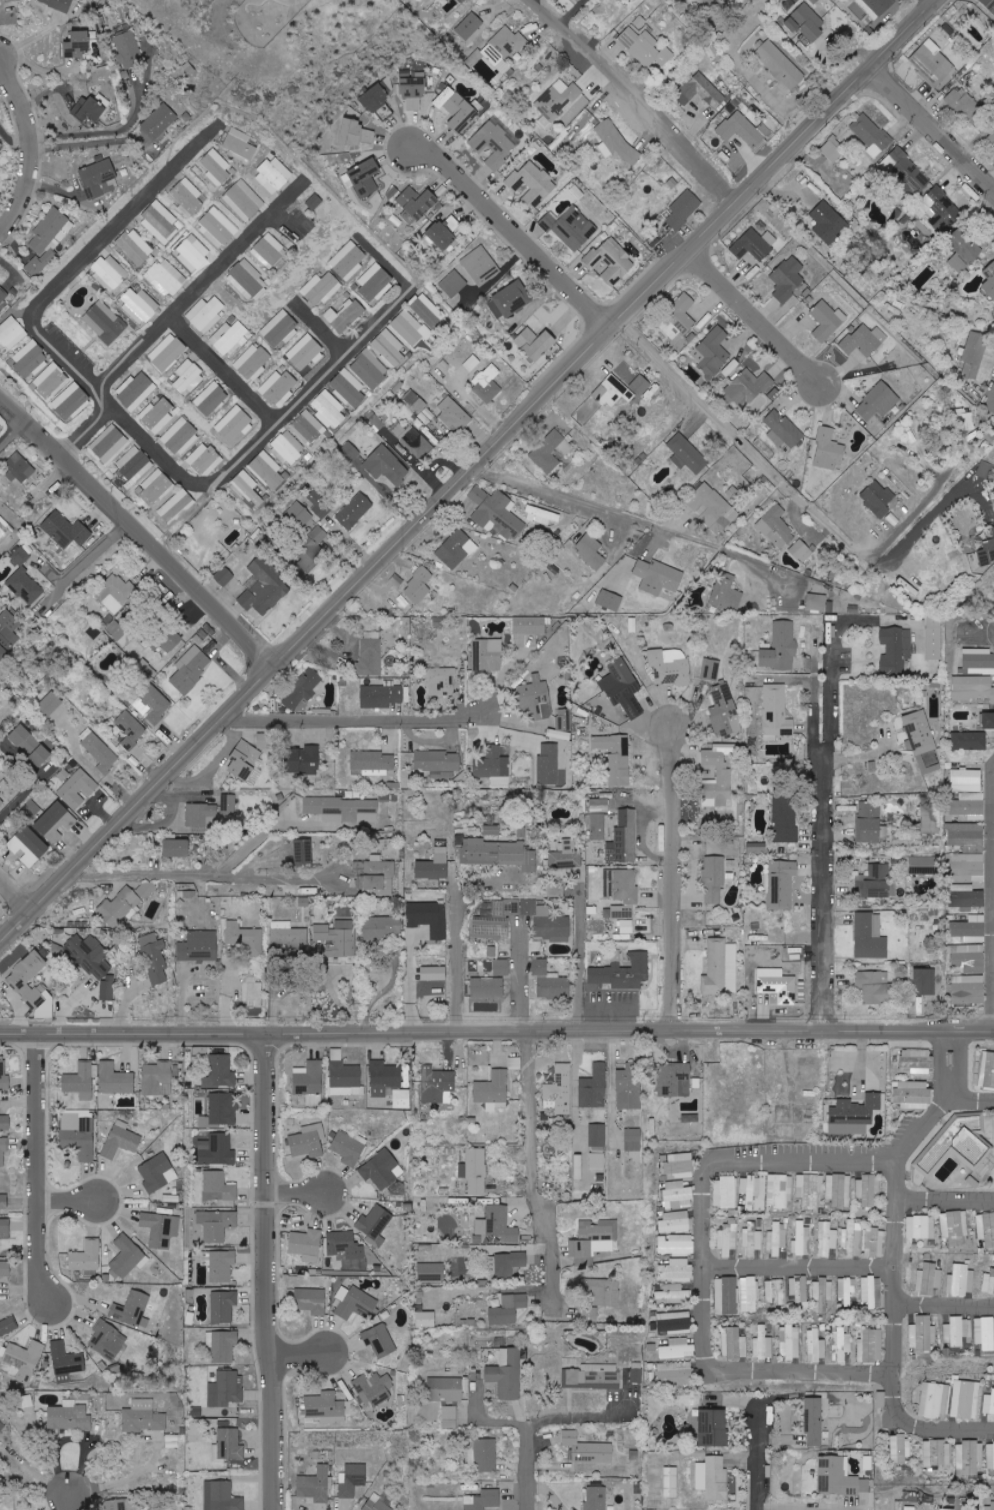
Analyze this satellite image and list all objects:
building: (462, 0)
building: (577, 0)
building: (709, 2)
building: (59, 4)
building: (989, 4)
building: (875, 7)
building: (807, 21)
building: (469, 25)
building: (530, 30)
building: (644, 43)
building: (78, 44)
building: (505, 45)
building: (128, 48)
building: (778, 62)
building: (932, 63)
building: (189, 68)
building: (703, 91)
building: (414, 92)
building: (375, 97)
building: (557, 100)
road: (632, 100)
building: (963, 103)
building: (89, 108)
building: (462, 111)
building: (160, 121)
road: (931, 127)
building: (738, 128)
building: (357, 132)
building: (872, 135)
road: (100, 136)
building: (615, 140)
building: (991, 140)
building: (495, 142)
building: (240, 144)
building: (833, 149)
road: (31, 152)
building: (215, 167)
building: (909, 171)
building: (273, 175)
building: (366, 178)
building: (100, 179)
building: (533, 184)
building: (187, 197)
building: (243, 200)
building: (315, 201)
building: (417, 204)
building: (684, 209)
building: (939, 210)
building: (160, 222)
building: (828, 223)
building: (217, 227)
building: (571, 227)
building: (444, 232)
road: (513, 233)
building: (48, 239)
building: (755, 245)
building: (135, 247)
building: (268, 250)
building: (193, 253)
building: (965, 253)
building: (348, 260)
building: (612, 261)
building: (481, 265)
building: (110, 272)
building: (165, 277)
building: (788, 279)
building: (248, 280)
building: (990, 280)
building: (375, 282)
building: (453, 283)
building: (766, 284)
road: (204, 287)
building: (320, 289)
building: (3, 295)
building: (511, 300)
building: (138, 304)
building: (427, 310)
building: (0, 314)
building: (205, 314)
building: (345, 315)
road: (753, 317)
building: (679, 320)
building: (828, 320)
building: (105, 322)
building: (280, 328)
building: (408, 329)
building: (12, 332)
road: (323, 332)
building: (230, 338)
building: (864, 340)
building: (535, 343)
building: (388, 348)
building: (168, 352)
building: (305, 352)
building: (713, 352)
building: (975, 353)
building: (31, 359)
building: (252, 362)
building: (471, 363)
building: (369, 369)
road: (223, 375)
building: (187, 377)
building: (52, 381)
building: (488, 384)
building: (641, 385)
building: (278, 388)
building: (348, 388)
building: (748, 388)
building: (135, 390)
building: (613, 391)
building: (211, 398)
building: (415, 401)
building: (72, 402)
building: (878, 402)
building: (328, 409)
road: (126, 414)
building: (157, 415)
building: (454, 415)
building: (234, 424)
building: (969, 424)
building: (307, 427)
building: (783, 430)
road: (84, 435)
road: (6, 436)
building: (180, 436)
building: (416, 442)
building: (110, 443)
building: (287, 448)
building: (829, 449)
building: (551, 452)
building: (687, 455)
building: (204, 459)
building: (134, 464)
building: (387, 465)
building: (19, 469)
building: (985, 469)
building: (267, 470)
road: (468, 475)
building: (154, 487)
building: (247, 488)
road: (783, 490)
building: (877, 499)
building: (319, 504)
building: (175, 506)
building: (714, 508)
building: (354, 511)
building: (497, 513)
building: (299, 515)
road: (632, 519)
building: (777, 527)
building: (4, 528)
building: (67, 530)
road: (133, 548)
building: (311, 550)
building: (457, 550)
building: (591, 551)
building: (802, 551)
building: (987, 552)
building: (21, 557)
road: (67, 570)
building: (224, 576)
building: (659, 577)
building: (419, 584)
building: (26, 586)
building: (264, 587)
building: (117, 593)
building: (727, 594)
building: (610, 600)
building: (817, 602)
building: (530, 625)
building: (628, 626)
building: (7, 632)
building: (116, 634)
building: (933, 638)
building: (168, 643)
building: (781, 647)
building: (896, 650)
building: (488, 656)
building: (371, 657)
building: (978, 661)
building: (670, 666)
building: (191, 668)
building: (712, 669)
building: (618, 681)
building: (442, 682)
building: (973, 688)
building: (304, 691)
building: (381, 696)
building: (536, 698)
building: (51, 704)
building: (158, 706)
building: (777, 712)
building: (725, 713)
building: (989, 721)
road: (355, 722)
building: (562, 726)
building: (129, 730)
building: (265, 740)
building: (922, 741)
building: (970, 741)
building: (31, 745)
building: (100, 752)
building: (616, 757)
building: (307, 760)
building: (246, 763)
building: (372, 763)
building: (438, 763)
building: (494, 766)
building: (63, 774)
building: (718, 777)
building: (966, 780)
building: (77, 788)
building: (2, 802)
building: (228, 804)
building: (600, 805)
building: (343, 809)
building: (202, 815)
building: (786, 818)
road: (826, 819)
building: (930, 819)
building: (55, 822)
building: (869, 822)
building: (597, 826)
building: (494, 830)
road: (261, 835)
building: (967, 837)
building: (624, 838)
building: (28, 847)
building: (176, 847)
building: (303, 852)
building: (499, 854)
building: (567, 857)
building: (923, 865)
building: (437, 866)
building: (969, 867)
road: (194, 873)
building: (377, 875)
road: (675, 878)
building: (713, 880)
building: (874, 882)
building: (781, 884)
building: (621, 885)
building: (146, 890)
building: (556, 891)
road: (990, 891)
building: (971, 898)
road: (15, 902)
building: (304, 902)
building: (120, 907)
building: (623, 911)
building: (430, 918)
building: (550, 923)
building: (627, 926)
building: (383, 928)
building: (492, 928)
building: (971, 929)
building: (244, 937)
road: (457, 937)
building: (870, 937)
building: (291, 938)
building: (338, 938)
building: (199, 947)
building: (794, 953)
road: (577, 957)
building: (970, 957)
building: (154, 958)
building: (93, 962)
building: (719, 966)
building: (501, 967)
building: (624, 973)
road: (516, 977)
road: (409, 981)
building: (550, 981)
building: (923, 982)
building: (778, 984)
building: (21, 986)
building: (487, 986)
building: (876, 988)
building: (968, 989)
building: (252, 992)
road: (496, 1028)
building: (336, 1054)
building: (917, 1060)
building: (986, 1070)
building: (220, 1071)
building: (4, 1076)
building: (157, 1078)
building: (346, 1078)
building: (115, 1079)
building: (310, 1079)
building: (677, 1080)
building: (80, 1081)
building: (393, 1082)
building: (439, 1084)
building: (629, 1086)
building: (594, 1087)
building: (560, 1088)
building: (493, 1090)
building: (913, 1094)
road: (972, 1107)
building: (221, 1110)
building: (854, 1115)
building: (5, 1122)
building: (598, 1135)
building: (77, 1136)
building: (121, 1140)
building: (309, 1141)
building: (633, 1143)
building: (952, 1146)
building: (349, 1147)
building: (3, 1150)
building: (219, 1150)
building: (597, 1160)
building: (679, 1164)
building: (578, 1166)
road: (33, 1168)
building: (383, 1169)
road: (532, 1169)
building: (475, 1170)
building: (157, 1172)
building: (218, 1186)
building: (867, 1189)
building: (749, 1190)
building: (808, 1190)
building: (838, 1190)
building: (778, 1191)
building: (725, 1192)
building: (679, 1194)
road: (299, 1196)
building: (4, 1200)
road: (65, 1202)
road: (946, 1206)
building: (675, 1221)
building: (376, 1223)
building: (217, 1224)
building: (497, 1224)
building: (5, 1226)
building: (920, 1227)
building: (161, 1228)
building: (986, 1228)
building: (727, 1237)
building: (751, 1238)
building: (777, 1238)
building: (802, 1239)
building: (825, 1239)
building: (851, 1239)
building: (593, 1240)
building: (875, 1242)
building: (307, 1244)
building: (345, 1244)
building: (676, 1244)
building: (87, 1256)
building: (126, 1257)
road: (899, 1263)
building: (221, 1264)
building: (509, 1264)
road: (709, 1267)
building: (5, 1269)
road: (269, 1269)
building: (677, 1270)
building: (431, 1271)
road: (804, 1272)
building: (928, 1278)
building: (960, 1280)
building: (988, 1282)
building: (798, 1290)
building: (846, 1291)
building: (672, 1292)
building: (774, 1292)
building: (870, 1292)
building: (822, 1293)
building: (749, 1294)
building: (725, 1295)
building: (311, 1300)
building: (355, 1302)
building: (223, 1305)
building: (132, 1309)
building: (509, 1309)
road: (945, 1311)
building: (589, 1315)
building: (426, 1318)
building: (675, 1321)
building: (8, 1325)
building: (956, 1332)
building: (922, 1333)
building: (984, 1333)
building: (107, 1340)
building: (380, 1340)
building: (789, 1341)
building: (842, 1343)
building: (733, 1344)
building: (762, 1344)
building: (225, 1345)
building: (815, 1345)
building: (871, 1345)
building: (677, 1349)
road: (302, 1358)
building: (23, 1361)
building: (66, 1362)
building: (636, 1372)
building: (676, 1373)
building: (507, 1374)
building: (594, 1375)
building: (226, 1388)
building: (445, 1389)
building: (373, 1390)
building: (934, 1399)
building: (965, 1399)
building: (989, 1403)
road: (583, 1415)
building: (69, 1416)
building: (143, 1416)
building: (449, 1416)
building: (814, 1420)
building: (713, 1427)
building: (693, 1428)
building: (230, 1444)
building: (586, 1447)
building: (899, 1449)
building: (0, 1452)
building: (936, 1453)
building: (483, 1455)
building: (990, 1456)
road: (759, 1464)
road: (144, 1467)
road: (527, 1472)
building: (712, 1477)
building: (839, 1477)
building: (354, 1480)
building: (670, 1481)
building: (316, 1485)
building: (222, 1496)
building: (912, 1496)
building: (596, 1498)
building: (483, 1500)
road: (68, 1503)
building: (377, 1504)
building: (117, 1505)
building: (992, 1505)
road: (809, 1507)
building: (910, 1508)
building: (949, 1509)

